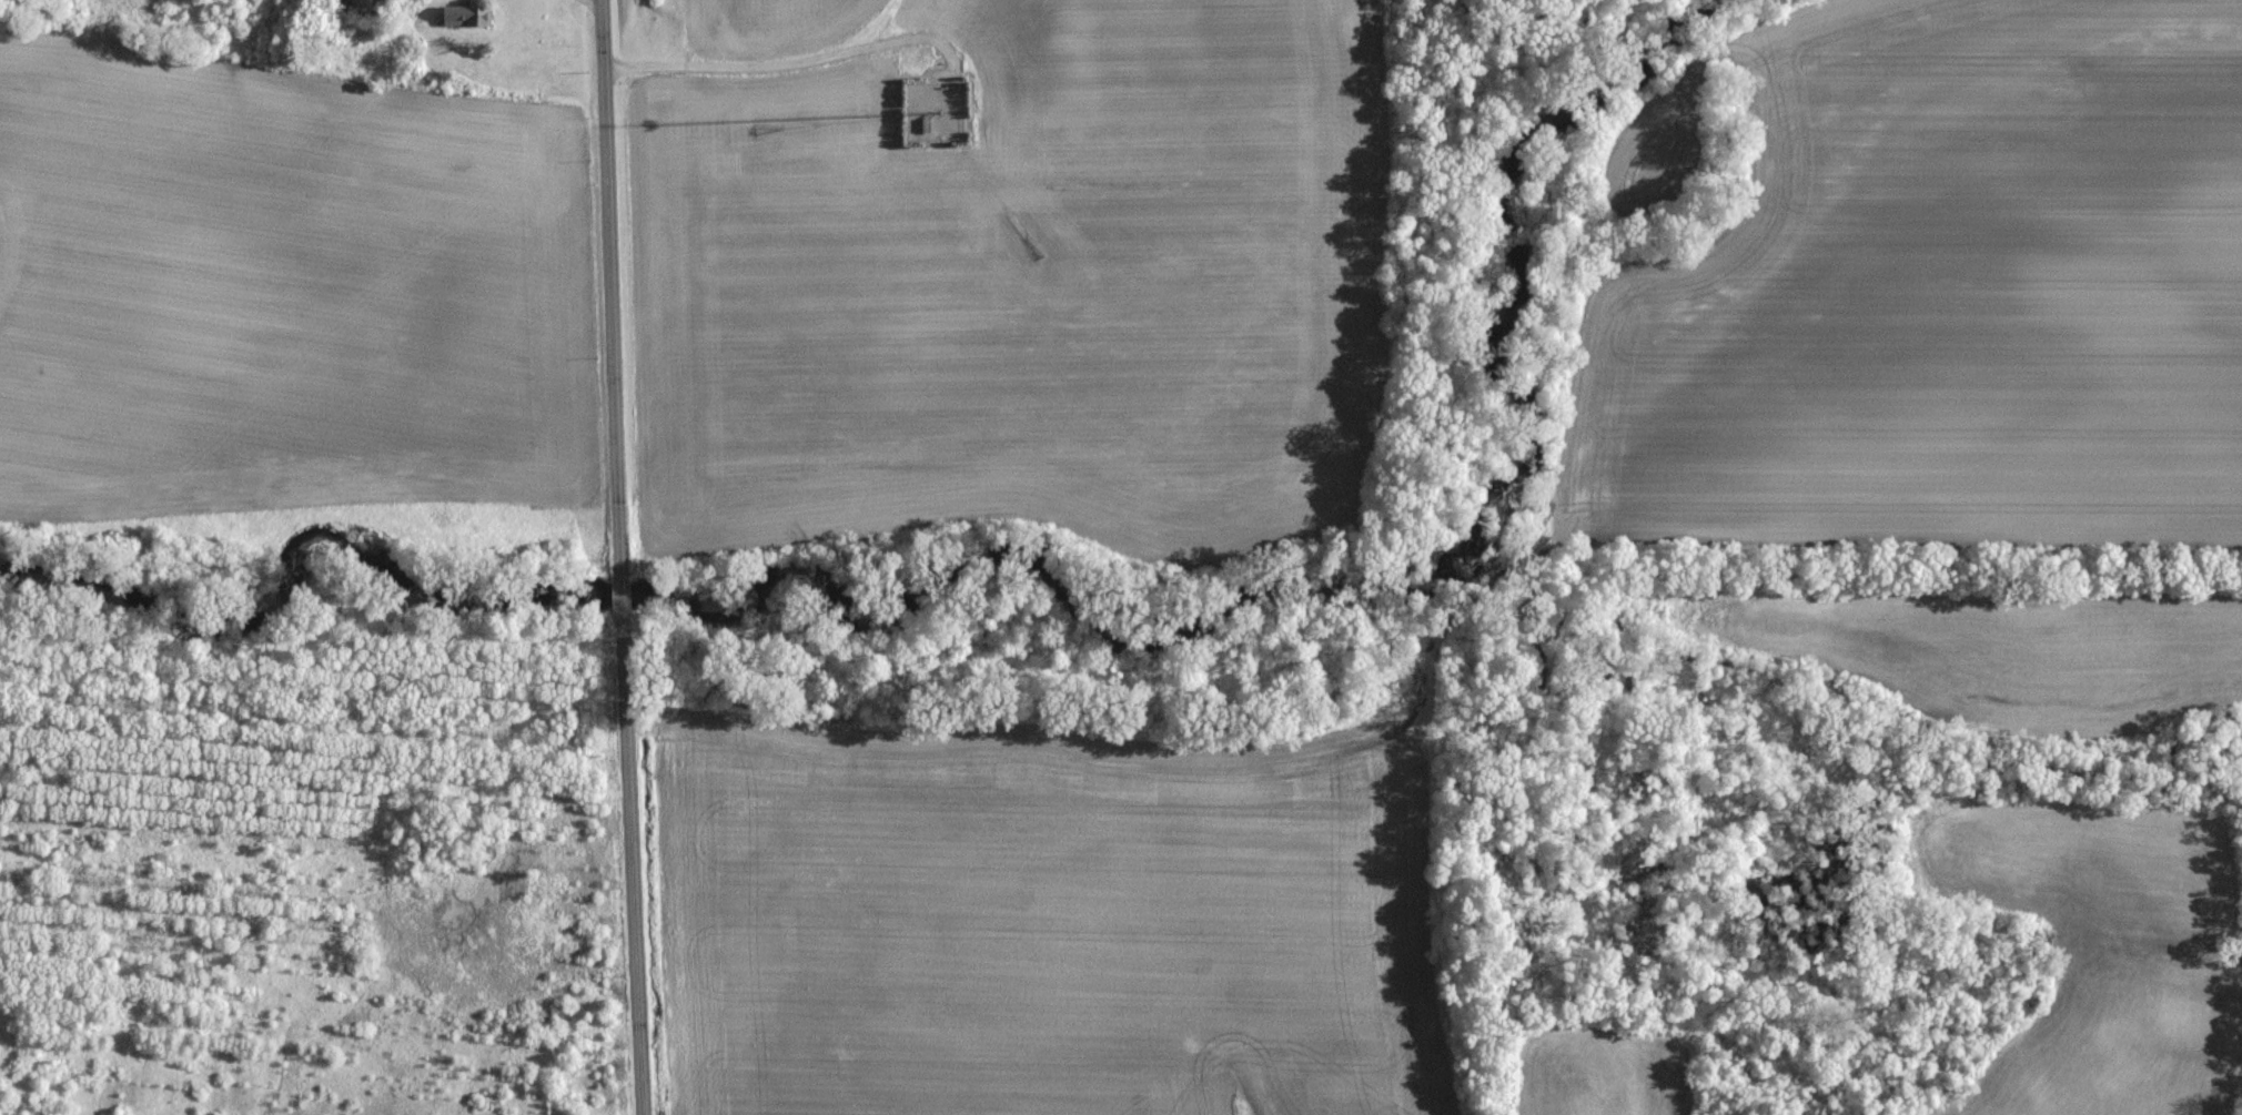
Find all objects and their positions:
road: (588, 2)
road: (788, 64)
road: (619, 557)

